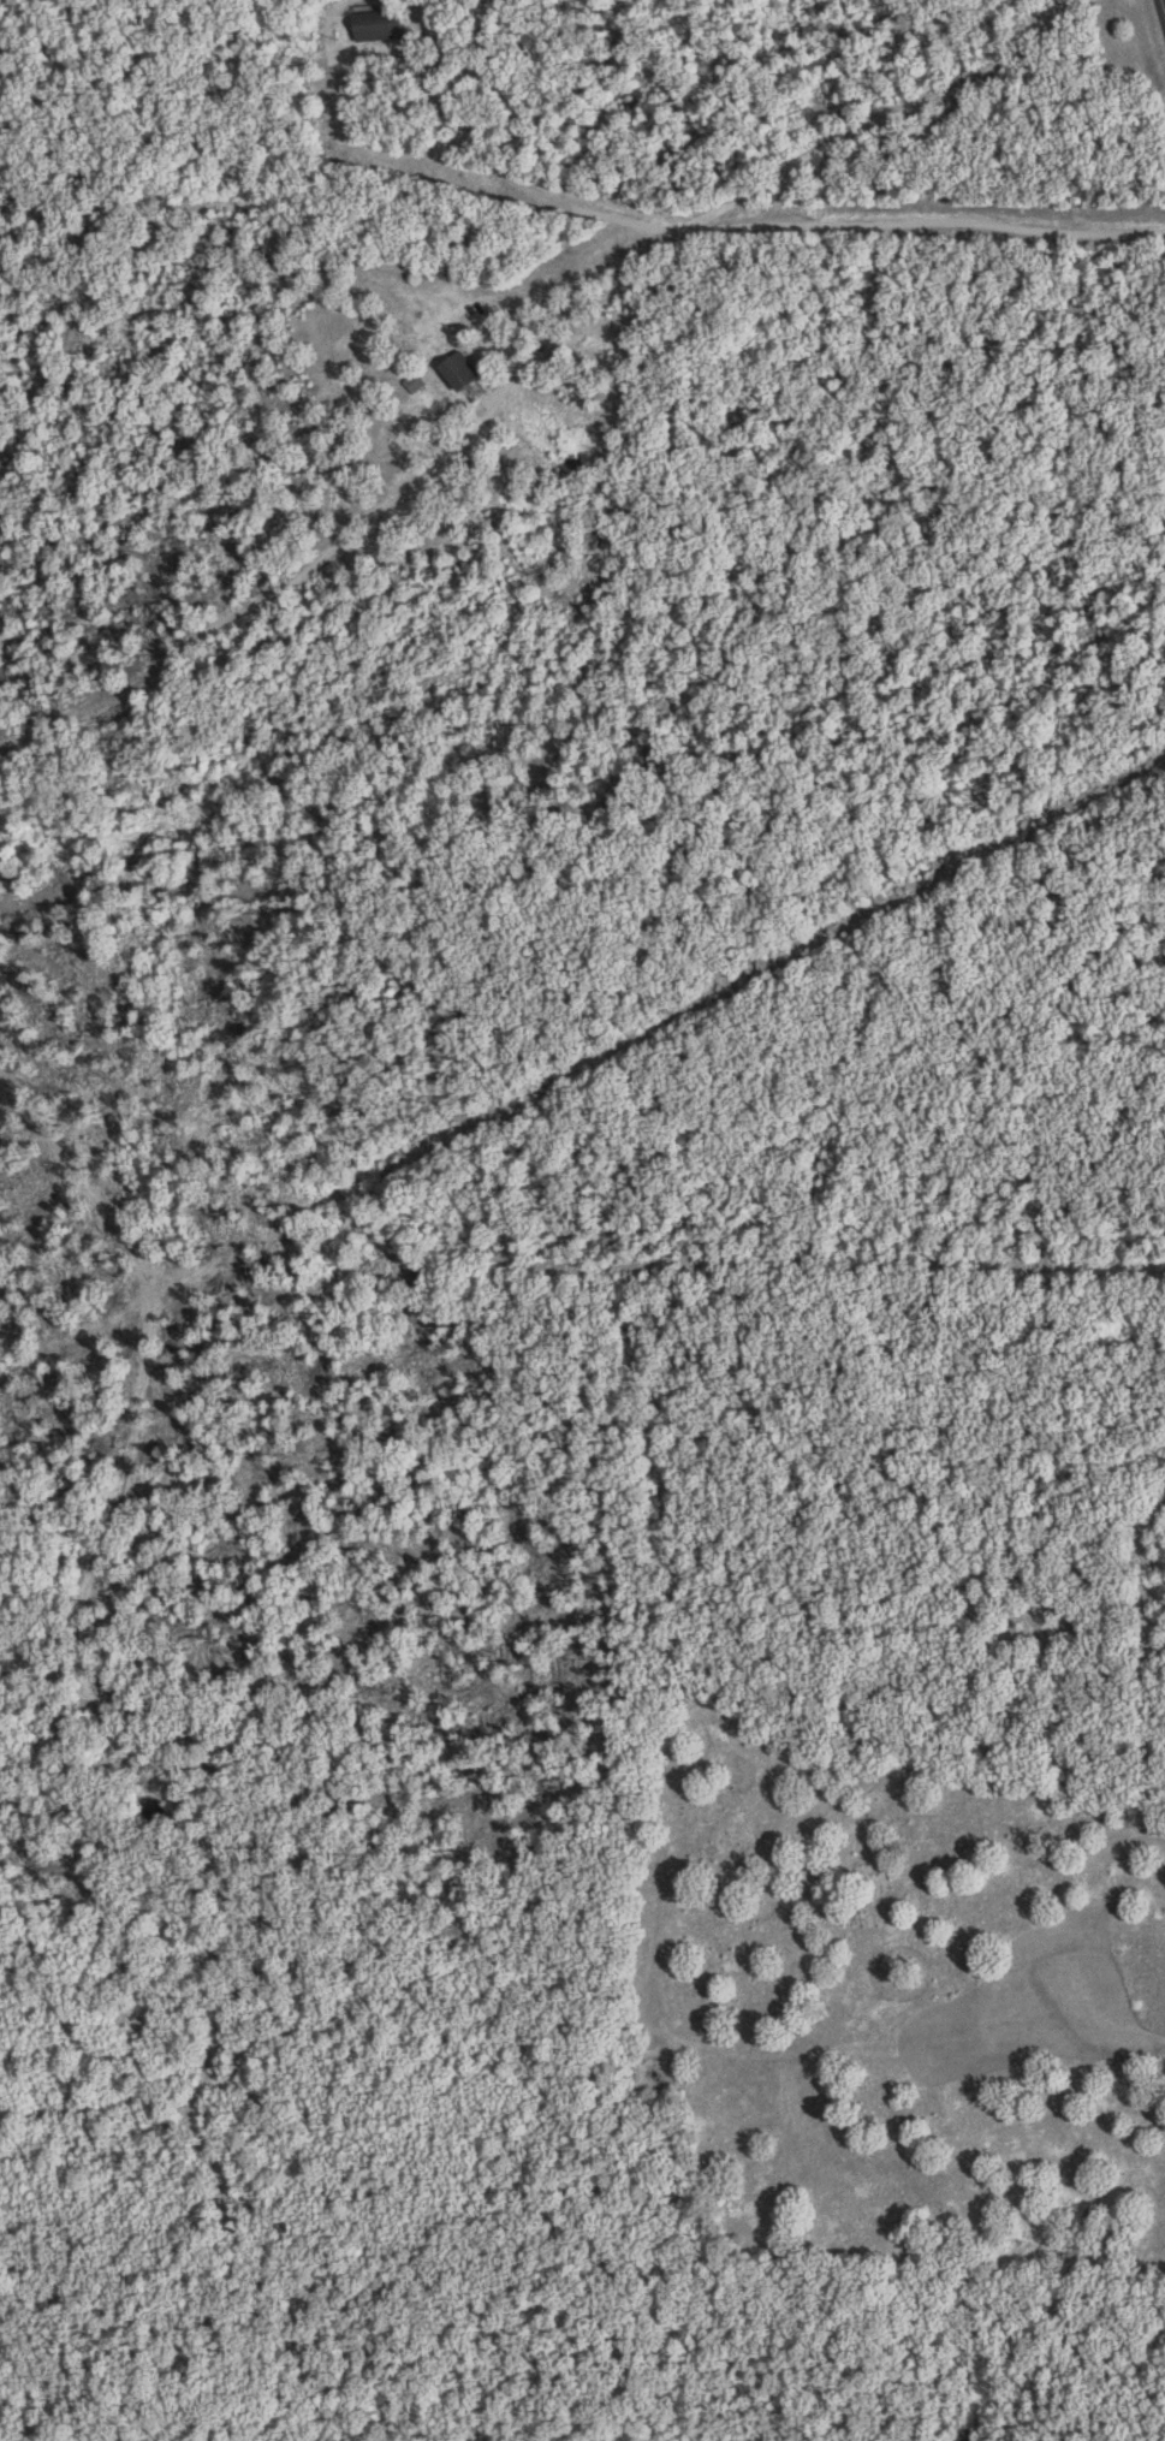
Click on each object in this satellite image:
road: (1161, 12)
building: (381, 25)
building: (463, 370)
building: (418, 382)
building: (335, 574)

